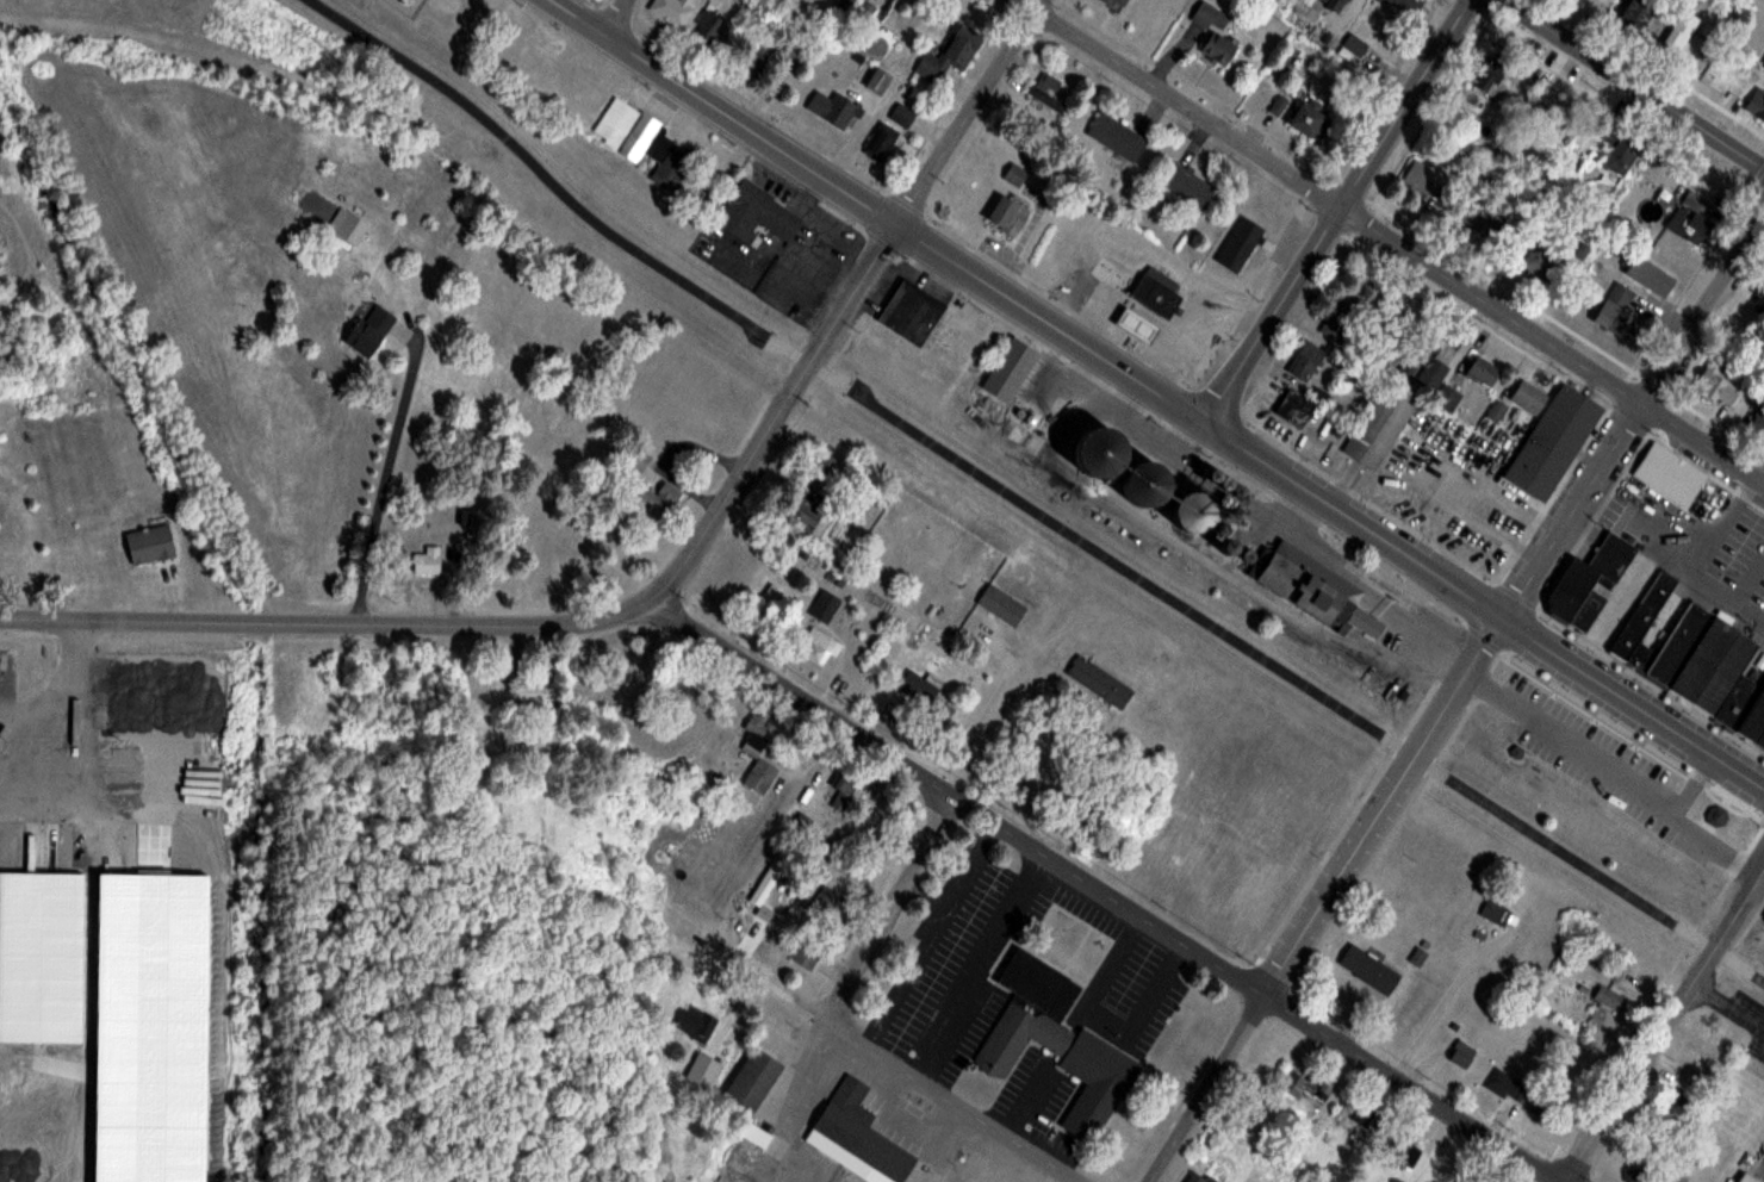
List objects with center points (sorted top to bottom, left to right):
building: (1118, 2)
building: (844, 4)
building: (1334, 4)
building: (1405, 5)
power substation: (409, 6)
building: (670, 10)
building: (1635, 14)
road: (615, 17)
building: (708, 26)
building: (1213, 31)
building: (1679, 33)
building: (954, 50)
building: (1763, 63)
building: (1489, 76)
building: (876, 81)
road: (1635, 83)
building: (1046, 91)
building: (1757, 104)
building: (1278, 105)
building: (832, 108)
road: (968, 112)
building: (901, 116)
building: (1305, 117)
building: (631, 123)
building: (1116, 136)
building: (881, 142)
building: (1619, 147)
building: (667, 172)
building: (1014, 174)
building: (1187, 185)
building: (1455, 199)
building: (756, 211)
road: (1337, 212)
building: (1006, 214)
building: (1689, 224)
building: (348, 226)
road: (1392, 242)
building: (1238, 244)
building: (1539, 260)
building: (1648, 274)
building: (1155, 291)
building: (1759, 294)
road: (1026, 309)
building: (909, 311)
building: (1617, 311)
building: (1338, 324)
building: (1135, 325)
building: (367, 331)
building: (1305, 360)
building: (1423, 360)
building: (1010, 368)
building: (1482, 371)
building: (1719, 385)
building: (1528, 396)
building: (1447, 398)
building: (1293, 408)
building: (1496, 411)
road: (1633, 413)
road: (775, 416)
building: (1758, 421)
building: (1378, 428)
building: (1551, 440)
building: (633, 462)
road: (374, 471)
building: (1207, 473)
building: (1669, 473)
building: (1139, 481)
building: (1219, 481)
building: (1232, 489)
building: (658, 497)
road: (1025, 503)
building: (1187, 509)
building: (800, 510)
building: (148, 543)
parking lot: (1696, 545)
building: (427, 561)
building: (1588, 574)
building: (1313, 589)
building: (769, 599)
building: (1001, 604)
building: (824, 605)
building: (1585, 610)
building: (1642, 614)
road: (325, 623)
building: (1678, 643)
building: (816, 646)
building: (1640, 655)
building: (1701, 658)
building: (1723, 673)
building: (1099, 682)
road: (1480, 684)
building: (917, 688)
building: (533, 692)
building: (1739, 697)
road: (1633, 703)
road: (41, 708)
building: (940, 713)
building: (1752, 717)
road: (974, 730)
building: (1759, 738)
building: (757, 751)
parking lot: (1604, 765)
road: (1609, 767)
road: (1697, 774)
building: (841, 794)
road: (956, 797)
road: (1679, 802)
building: (1713, 809)
building: (800, 825)
road: (1737, 861)
building: (768, 881)
road: (1324, 900)
building: (825, 901)
road: (888, 907)
building: (1493, 910)
building: (807, 951)
building: (41, 957)
building: (1368, 969)
building: (1608, 997)
road: (1431, 1000)
road: (1727, 1007)
parking lot: (1749, 1020)
building: (695, 1022)
road: (1664, 1024)
building: (1055, 1043)
building: (1461, 1055)
building: (706, 1064)
building: (751, 1081)
building: (1325, 1087)
building: (1507, 1087)
road: (1412, 1088)
road: (951, 1101)
building: (1364, 1114)
building: (753, 1134)
building: (856, 1137)
building: (1405, 1146)
building: (1638, 1176)
building: (1199, 1177)
building: (1746, 1178)

